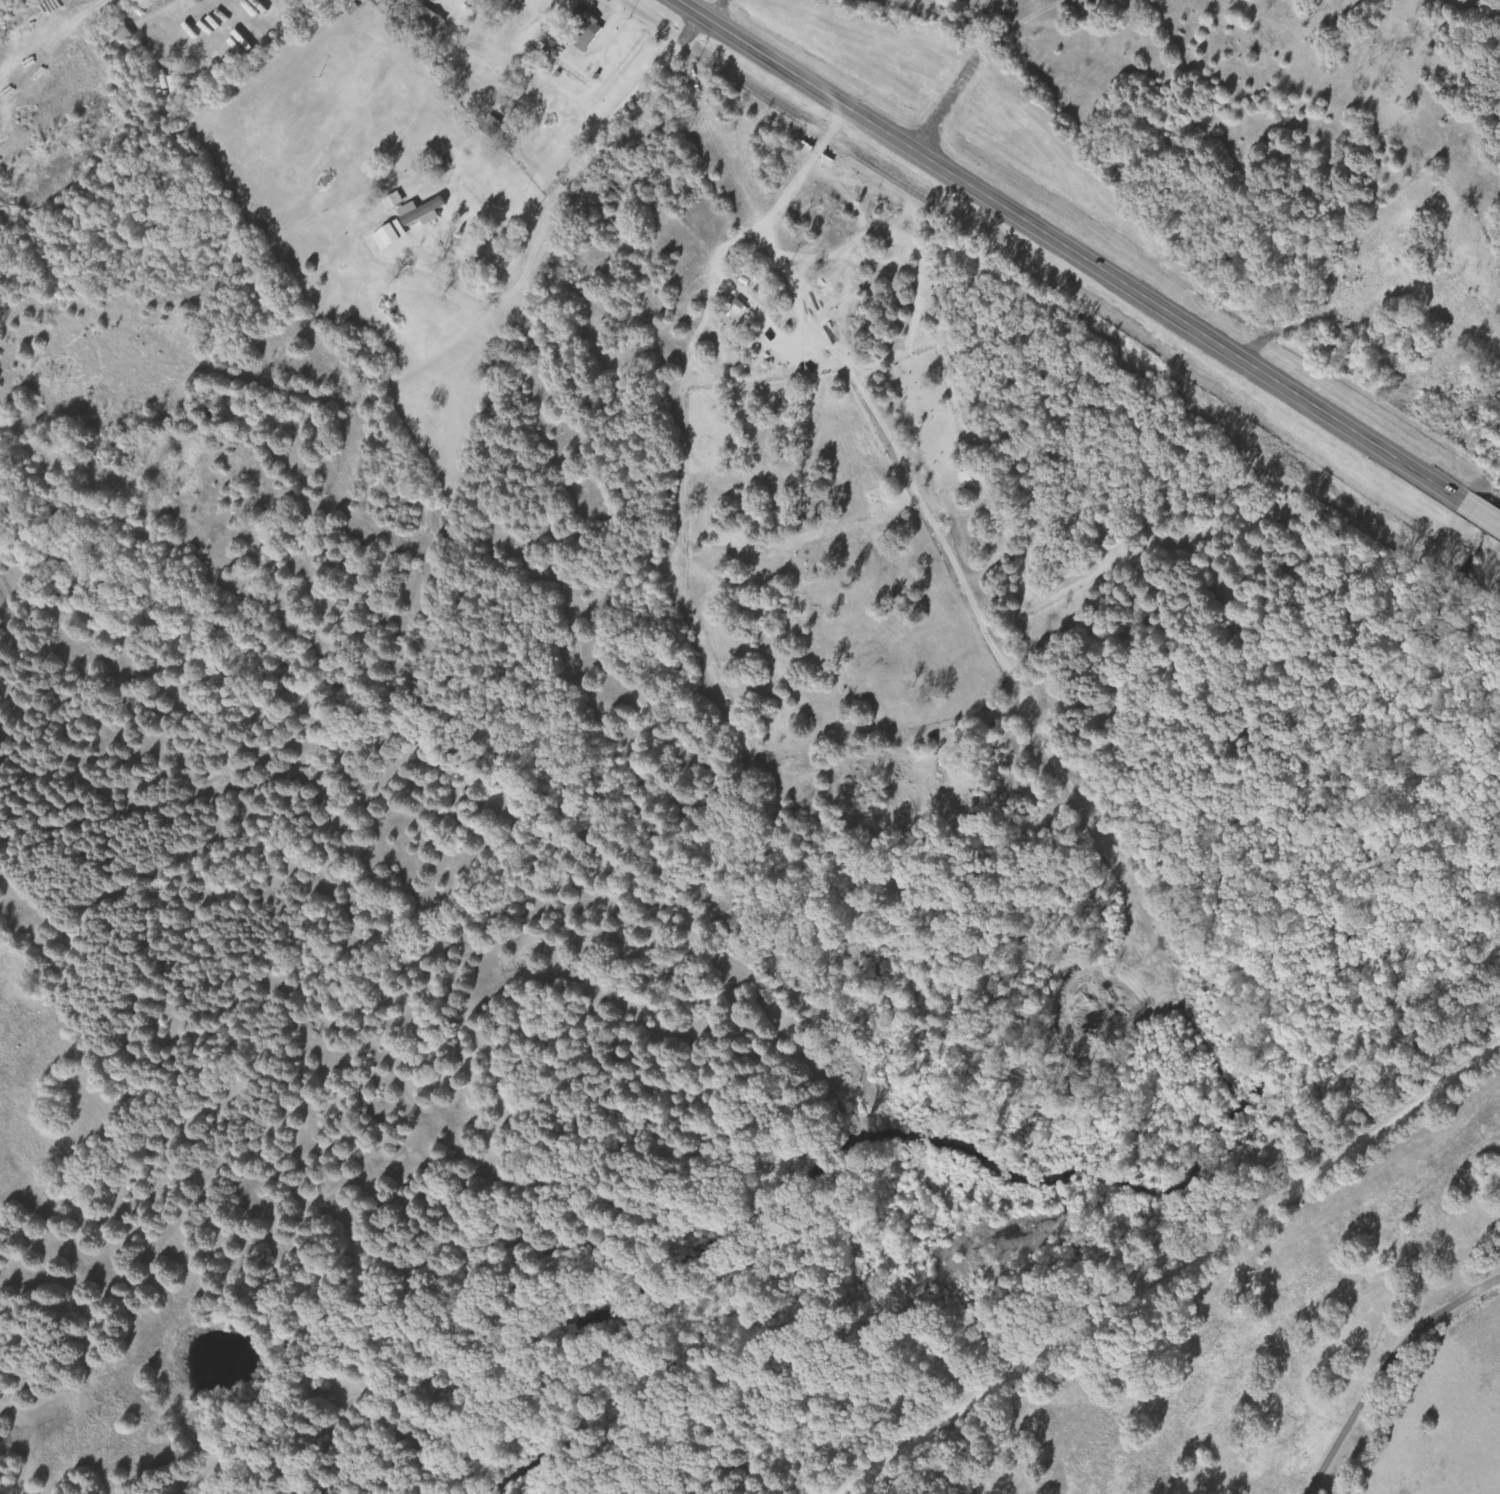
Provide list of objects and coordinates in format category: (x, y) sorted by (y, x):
building: (430, 21)
building: (587, 30)
building: (122, 36)
building: (492, 126)
road: (587, 141)
building: (394, 201)
building: (424, 212)
building: (393, 235)
road: (1088, 260)
road: (1102, 479)
road: (1177, 1277)
road: (1386, 1369)

